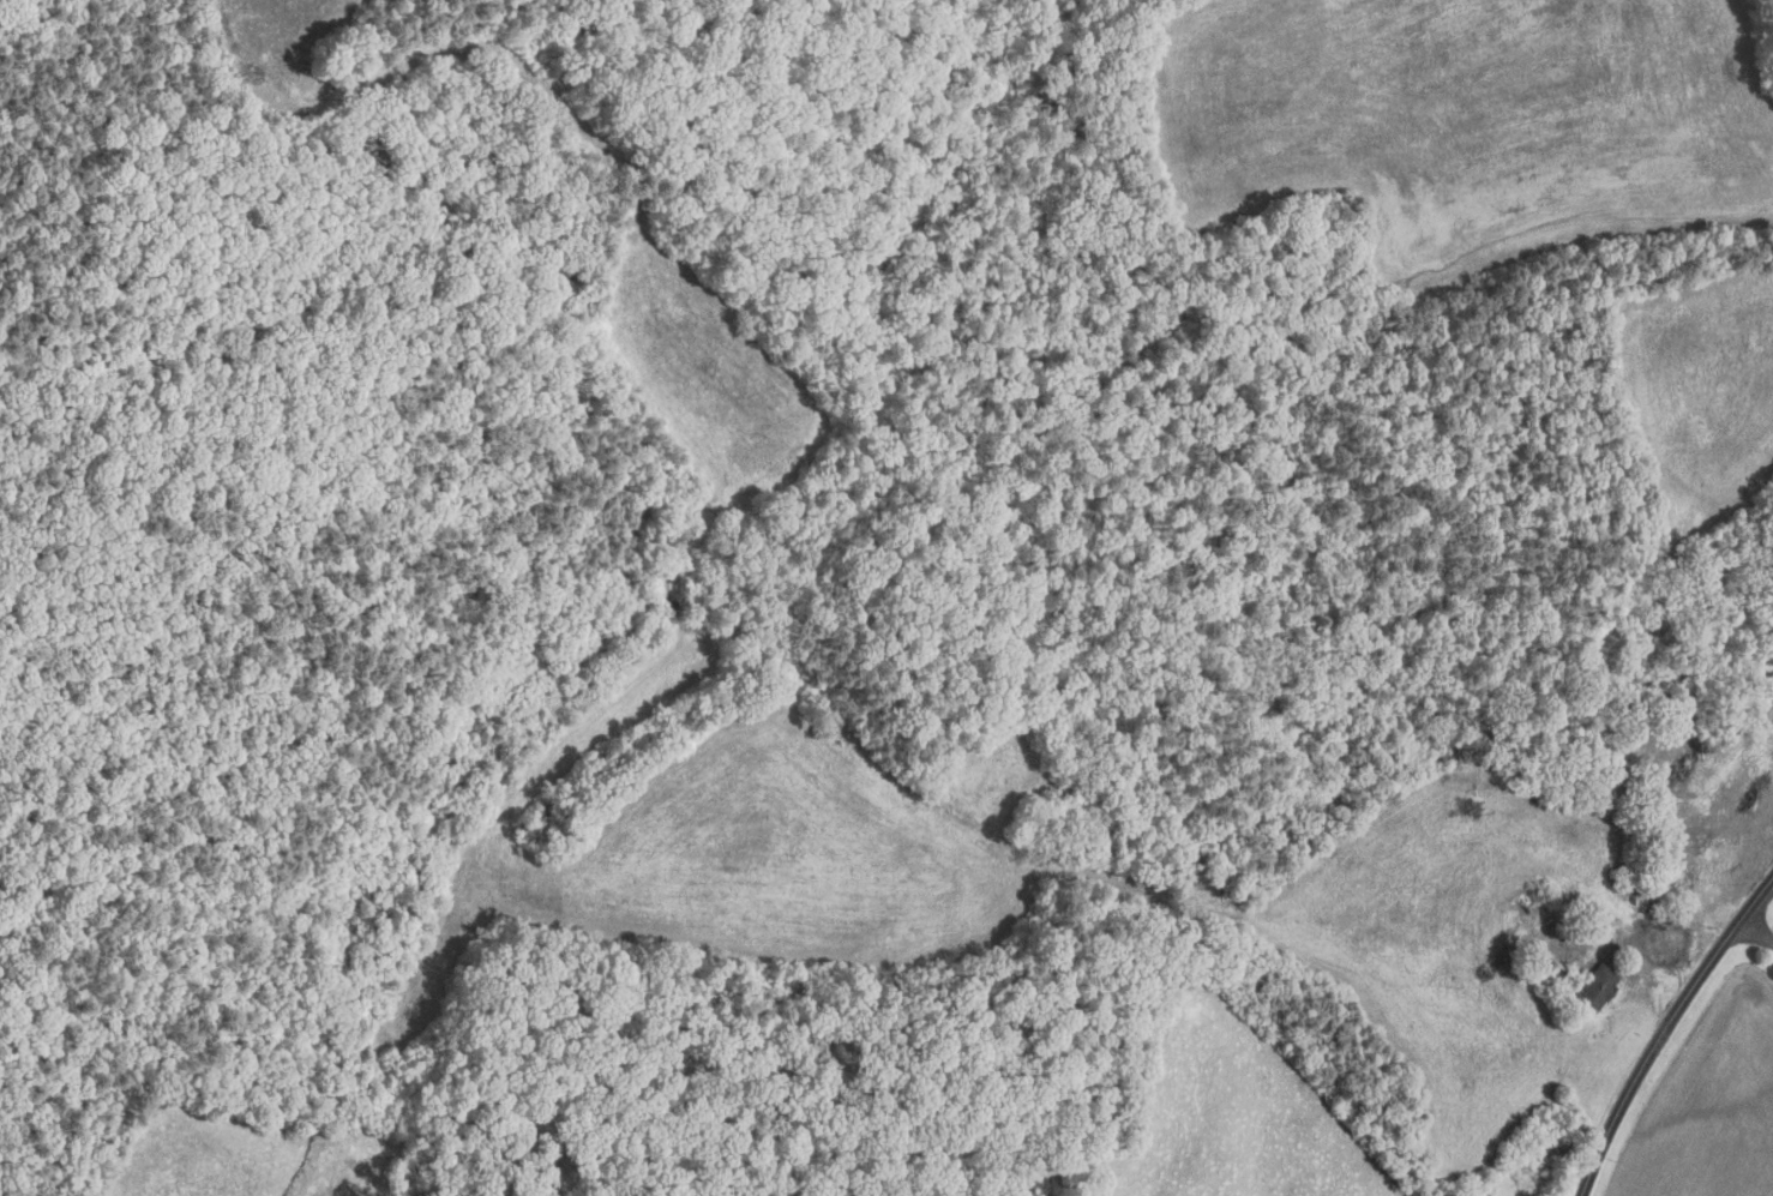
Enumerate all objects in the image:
building: (1665, 709)
building: (1563, 781)
building: (1600, 804)
road: (1755, 933)
building: (1559, 973)
building: (1593, 990)
road: (1667, 1029)

